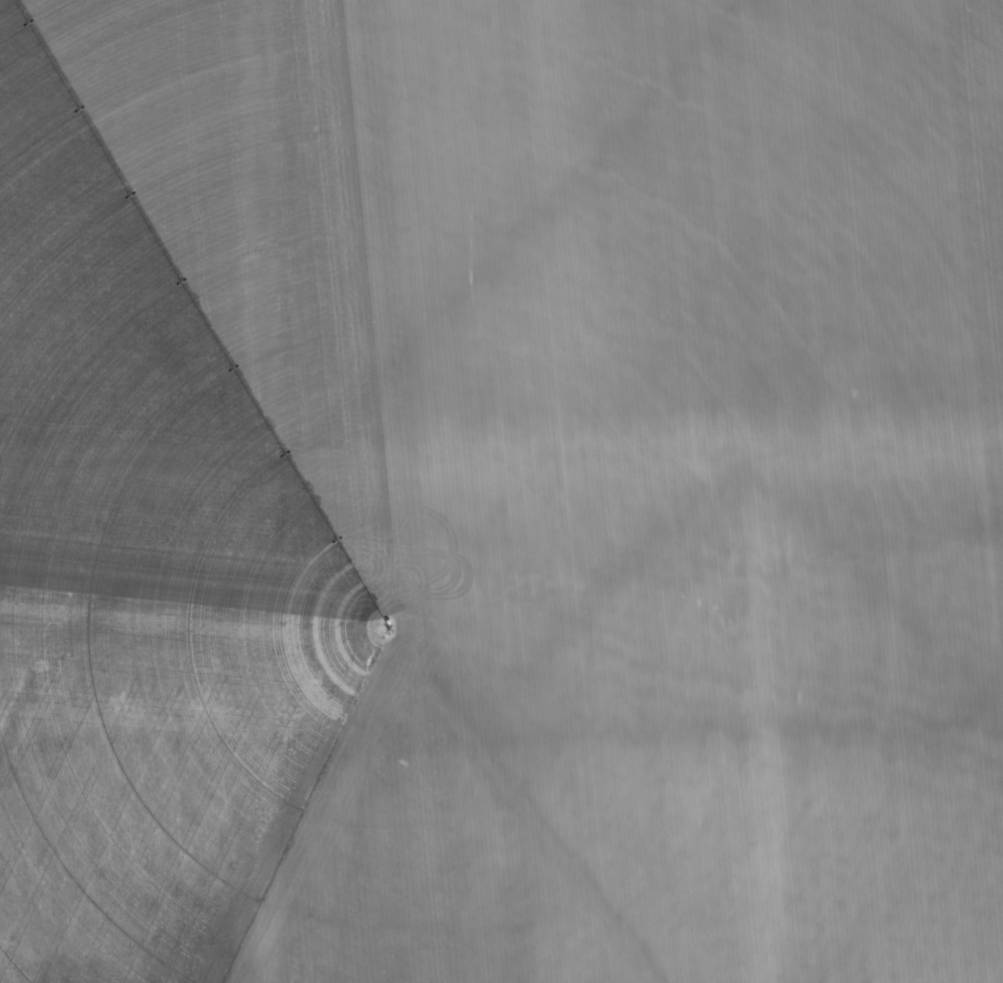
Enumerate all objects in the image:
road: (501, 450)

